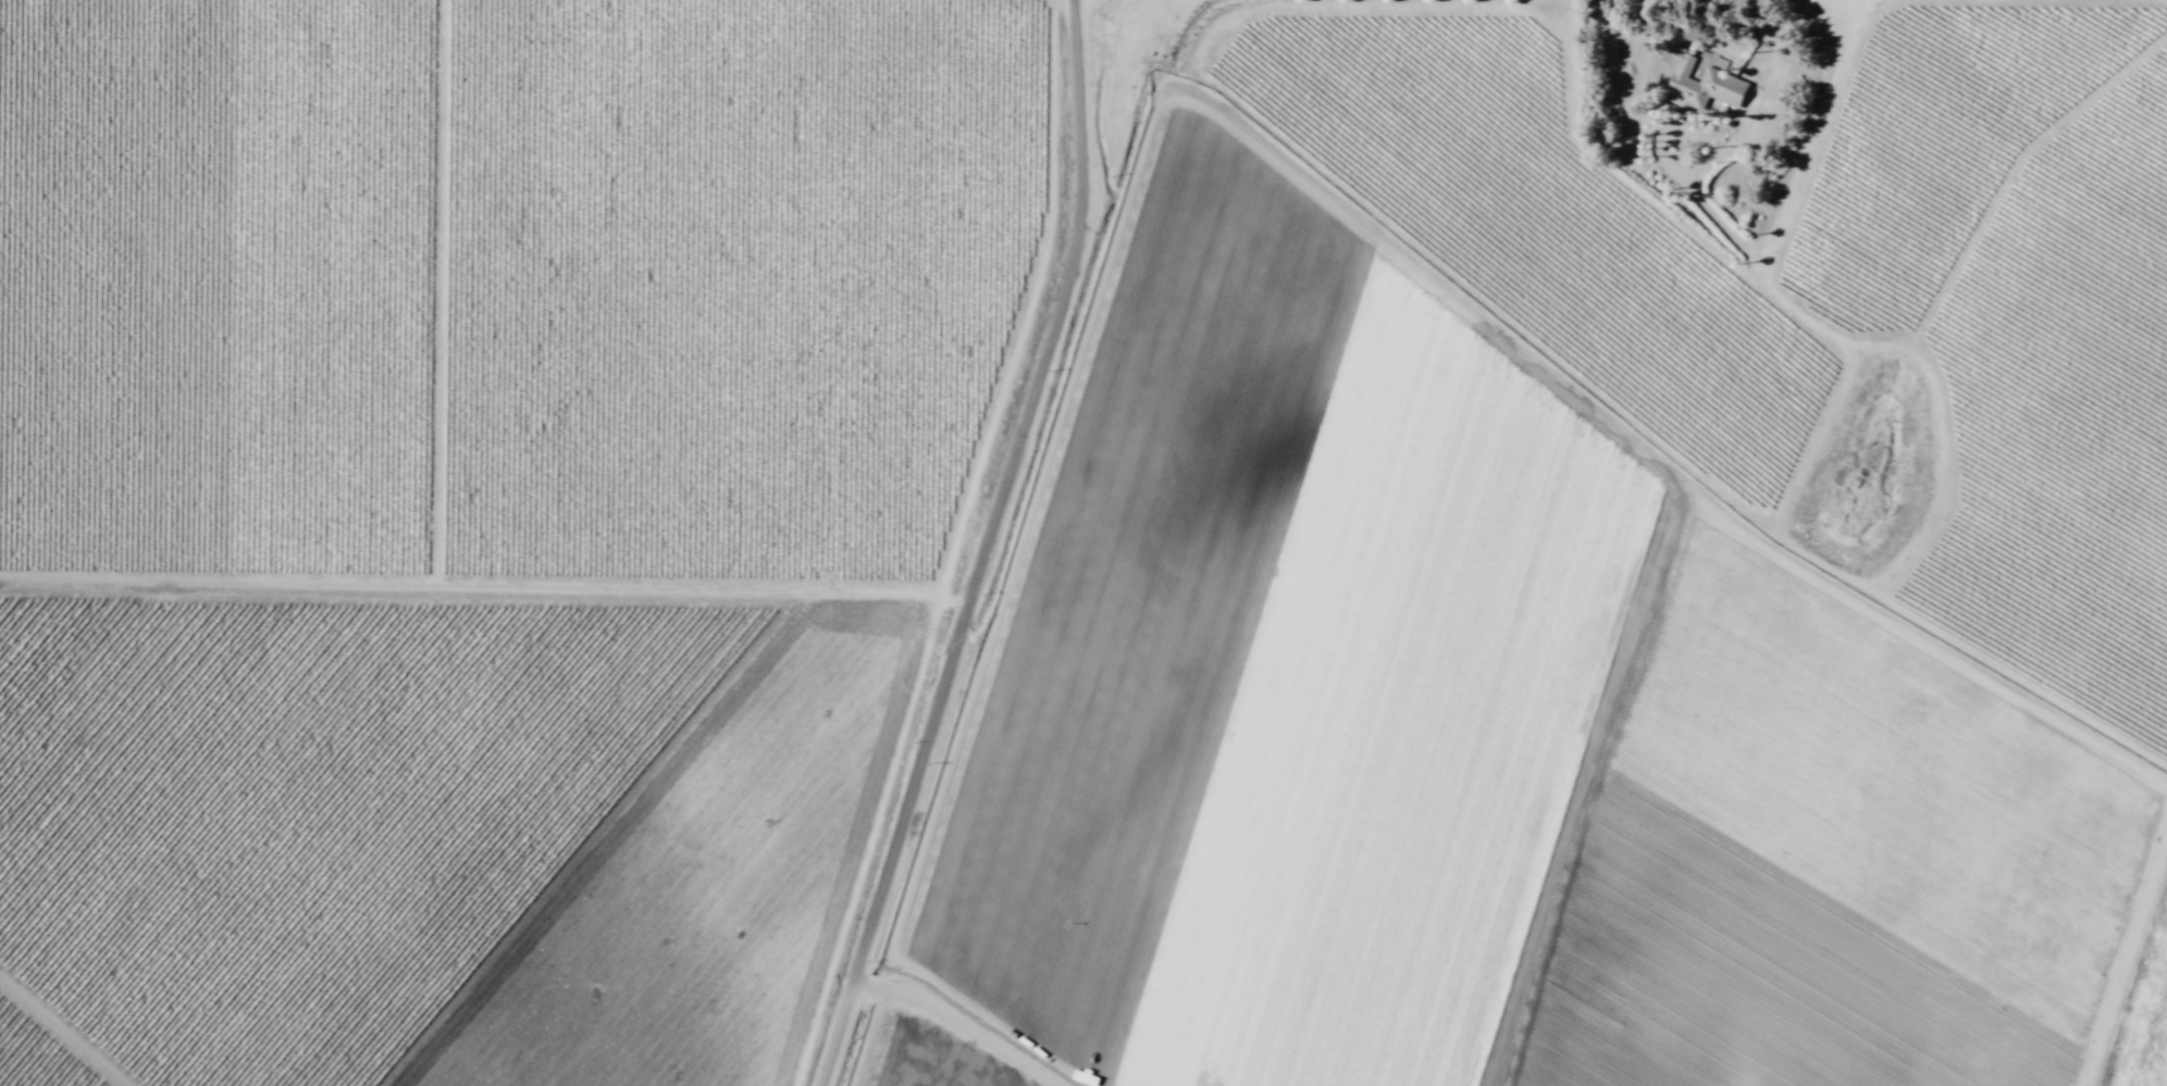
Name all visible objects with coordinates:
building: (1704, 83)
crop: (1083, 542)
road: (953, 548)
road: (986, 548)
road: (485, 587)
road: (959, 1022)
road: (66, 1028)

